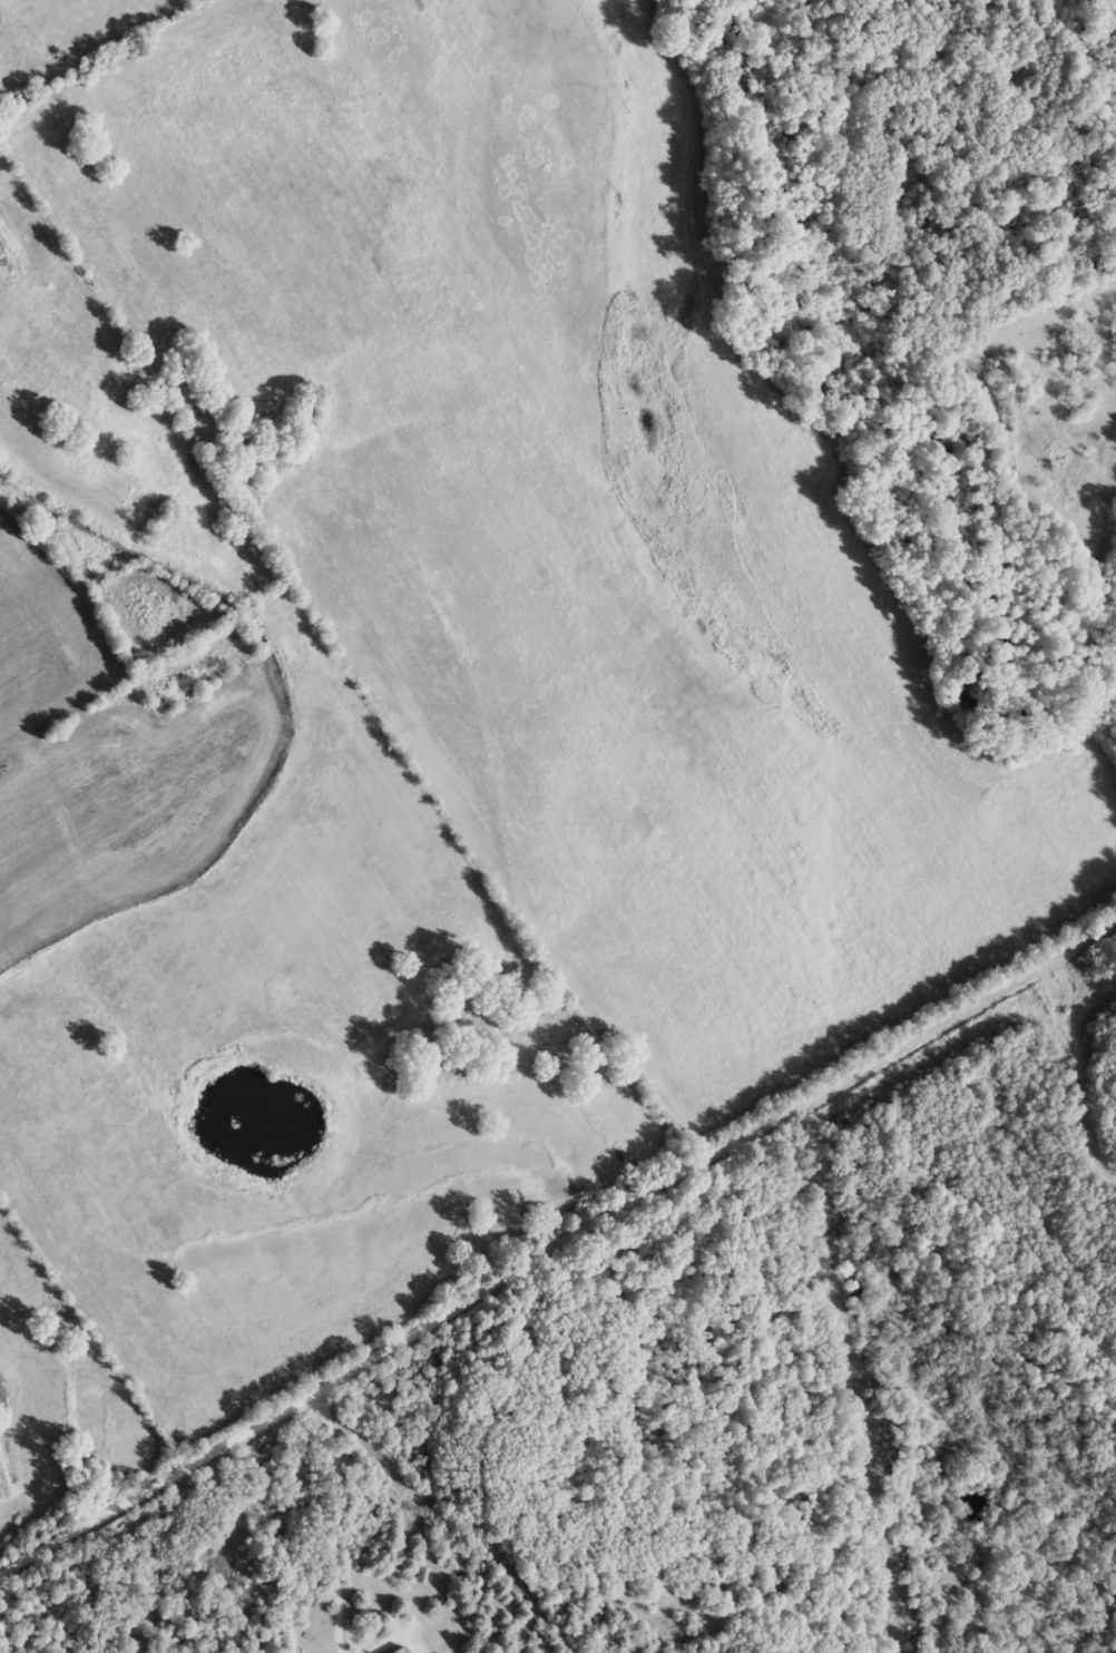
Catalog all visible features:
road: (127, 534)
road: (1015, 975)
road: (458, 1303)
road: (337, 1519)
road: (392, 1645)
building: (407, 1650)

